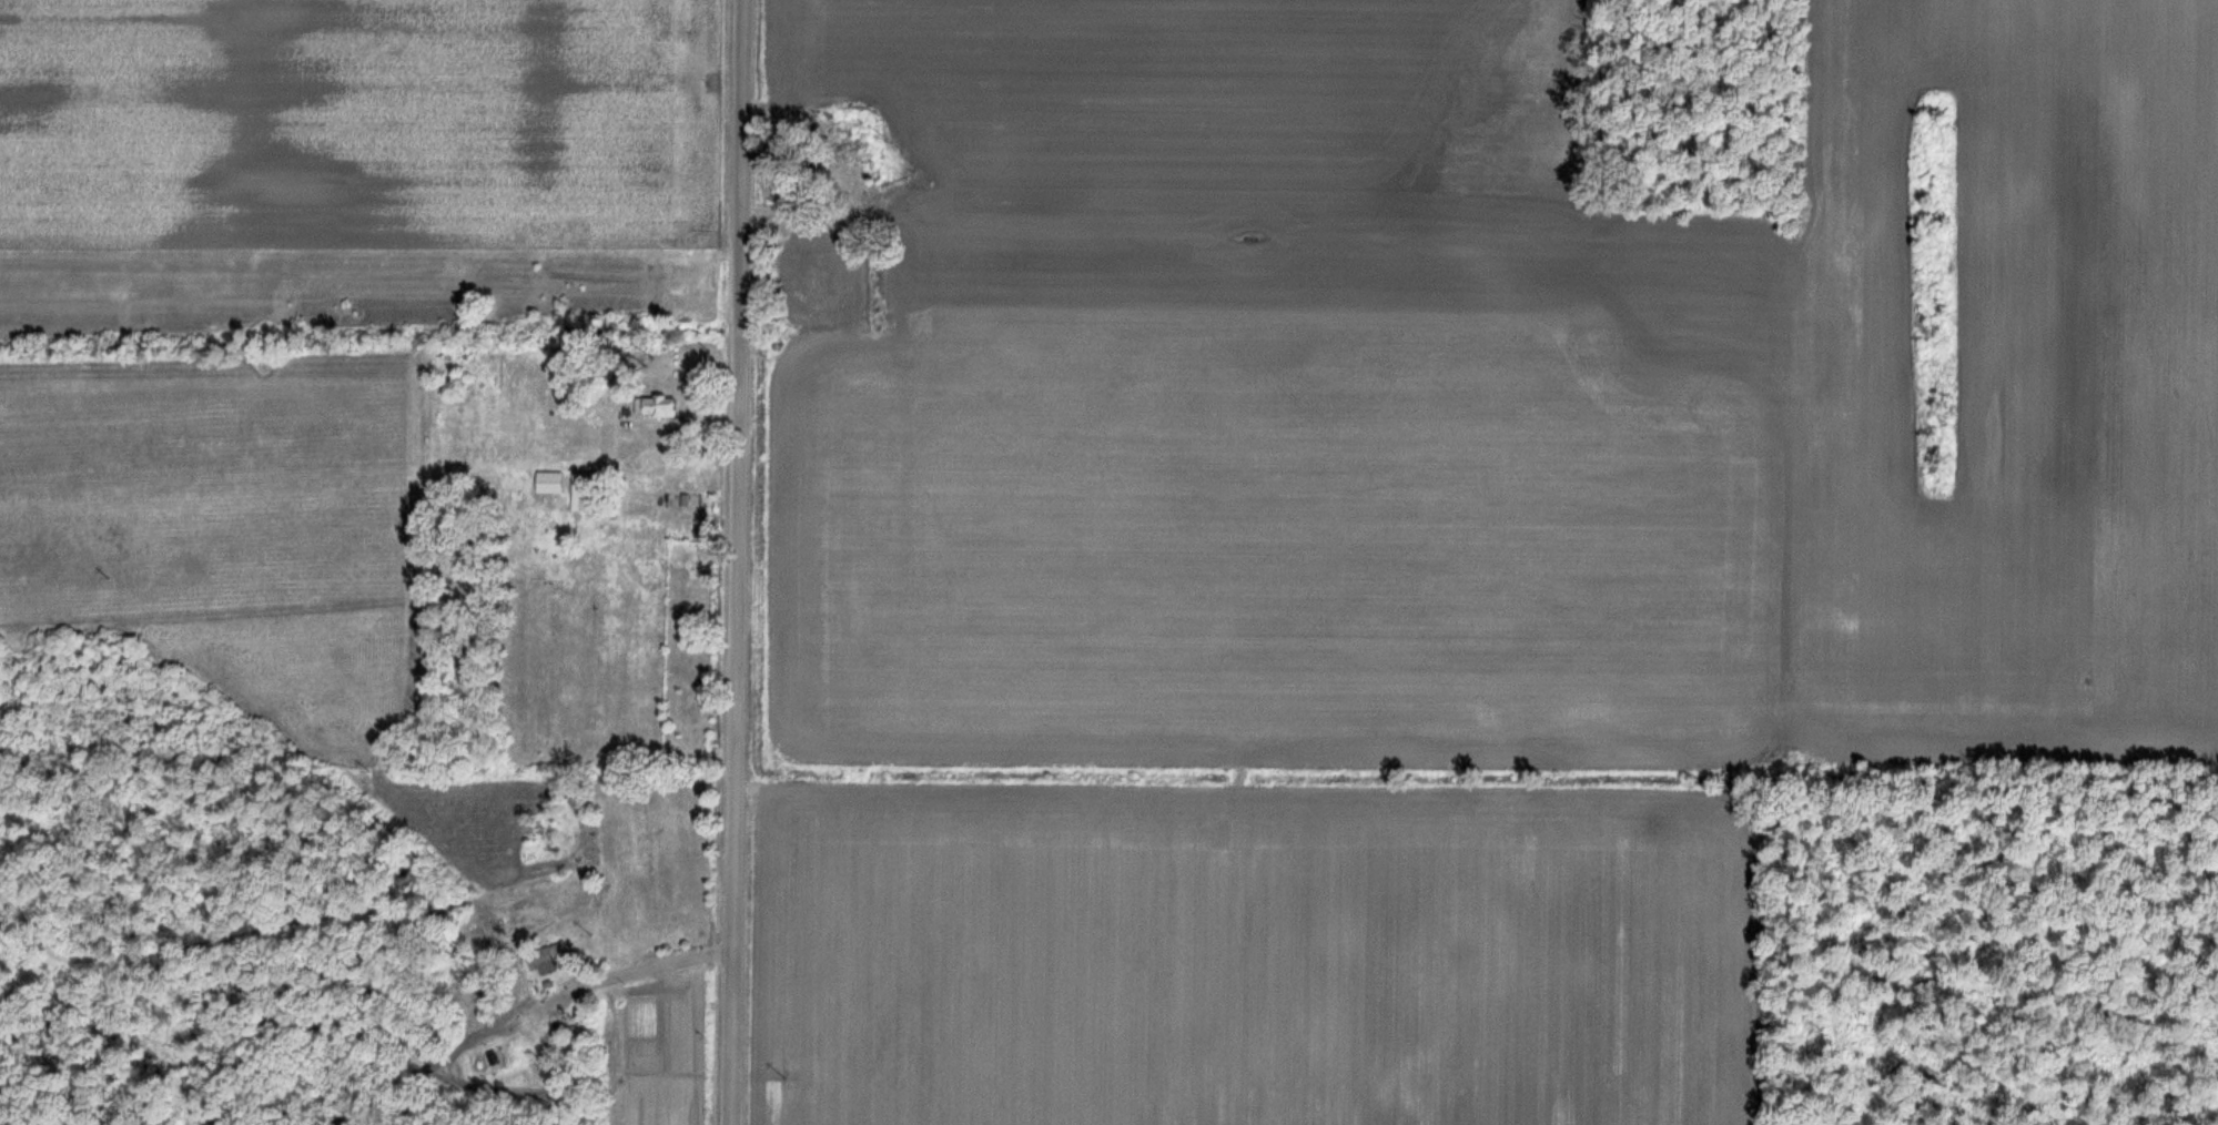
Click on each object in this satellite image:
building: (661, 404)
road: (641, 423)
building: (589, 493)
road: (741, 561)
road: (656, 963)

